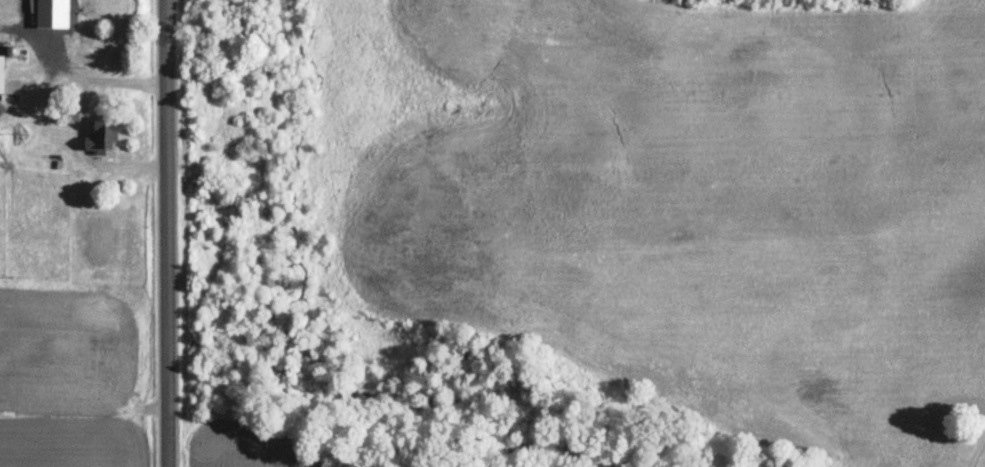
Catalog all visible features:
building: (52, 14)
building: (6, 86)
building: (101, 140)
road: (167, 233)

